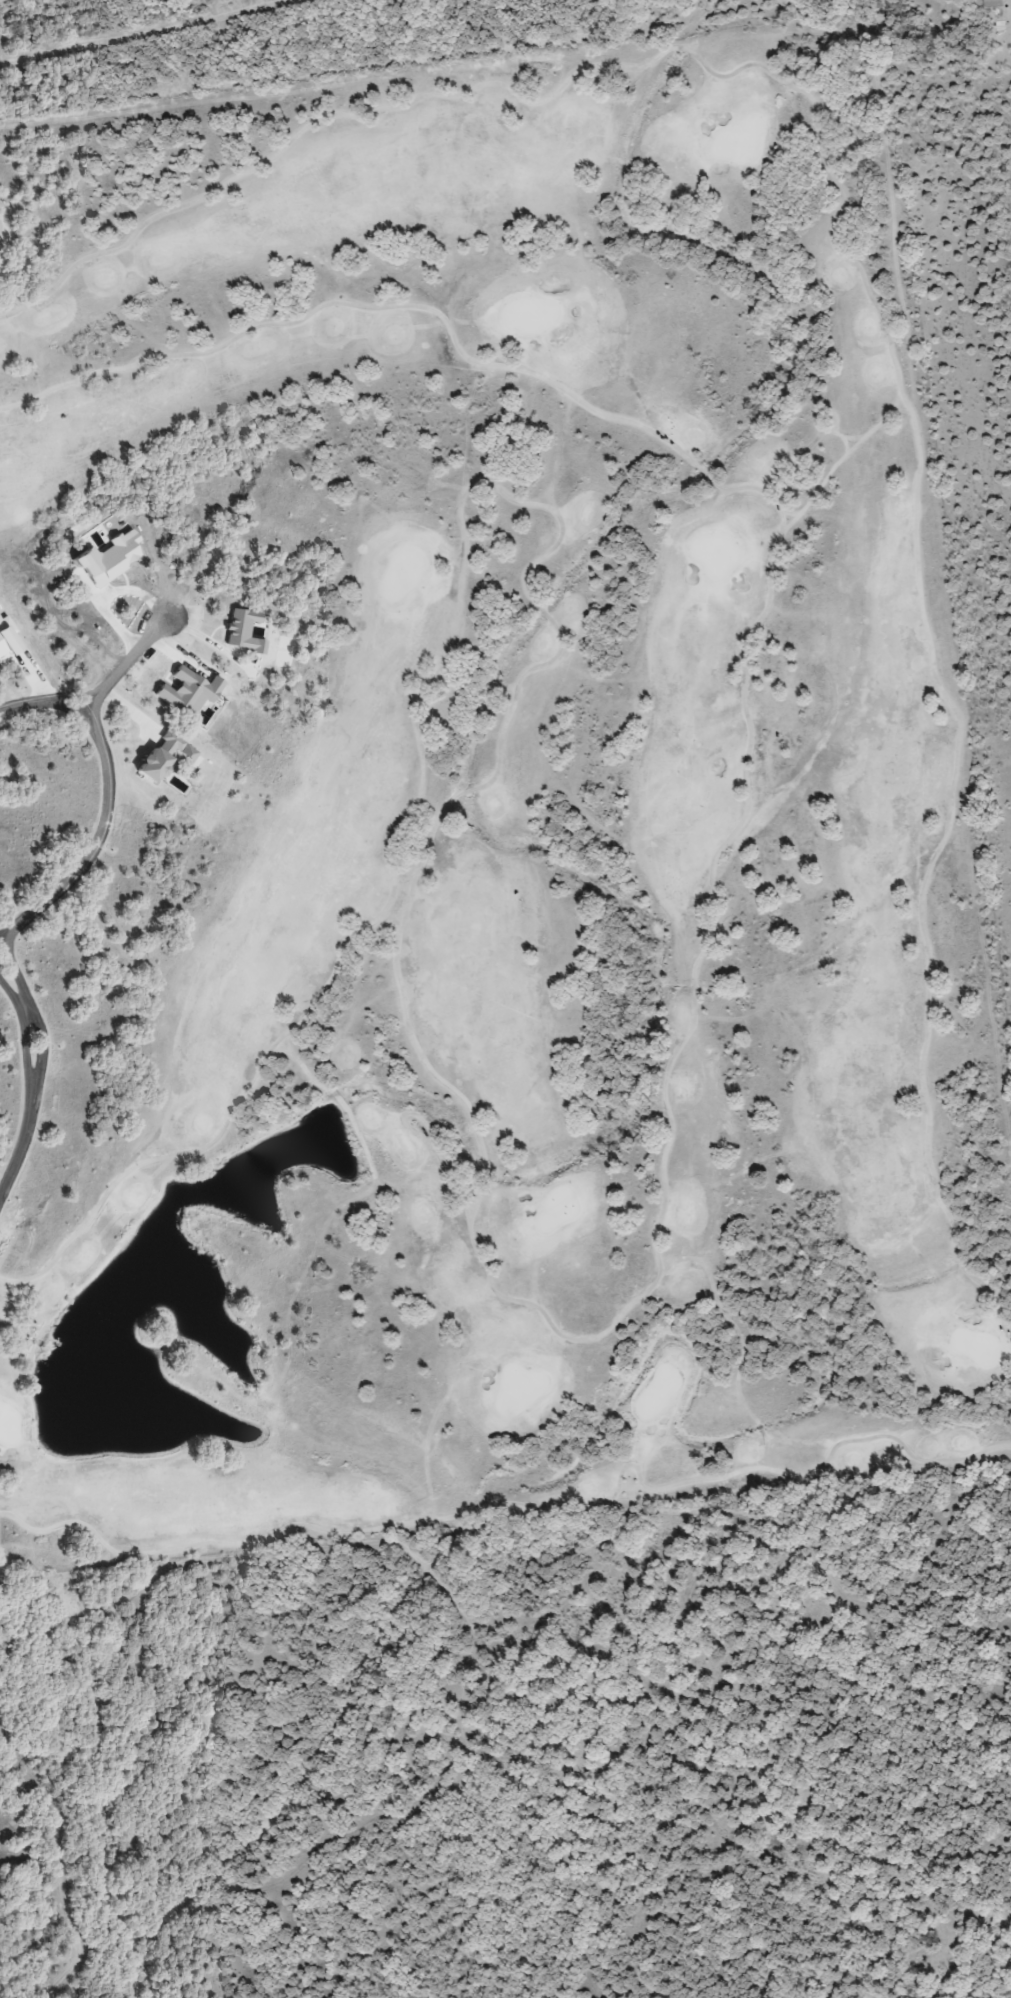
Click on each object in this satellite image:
building: (946, 0)
building: (992, 3)
road: (146, 31)
road: (5, 235)
road: (860, 268)
road: (897, 403)
road: (847, 437)
road: (847, 444)
road: (839, 461)
road: (789, 512)
road: (53, 698)
road: (9, 707)
road: (9, 712)
road: (108, 779)
park: (482, 807)
road: (0, 939)
road: (31, 1006)
road: (23, 1024)
road: (338, 1098)
road: (431, 1133)
road: (24, 1136)
road: (472, 1236)
road: (5, 1296)
road: (528, 1509)

